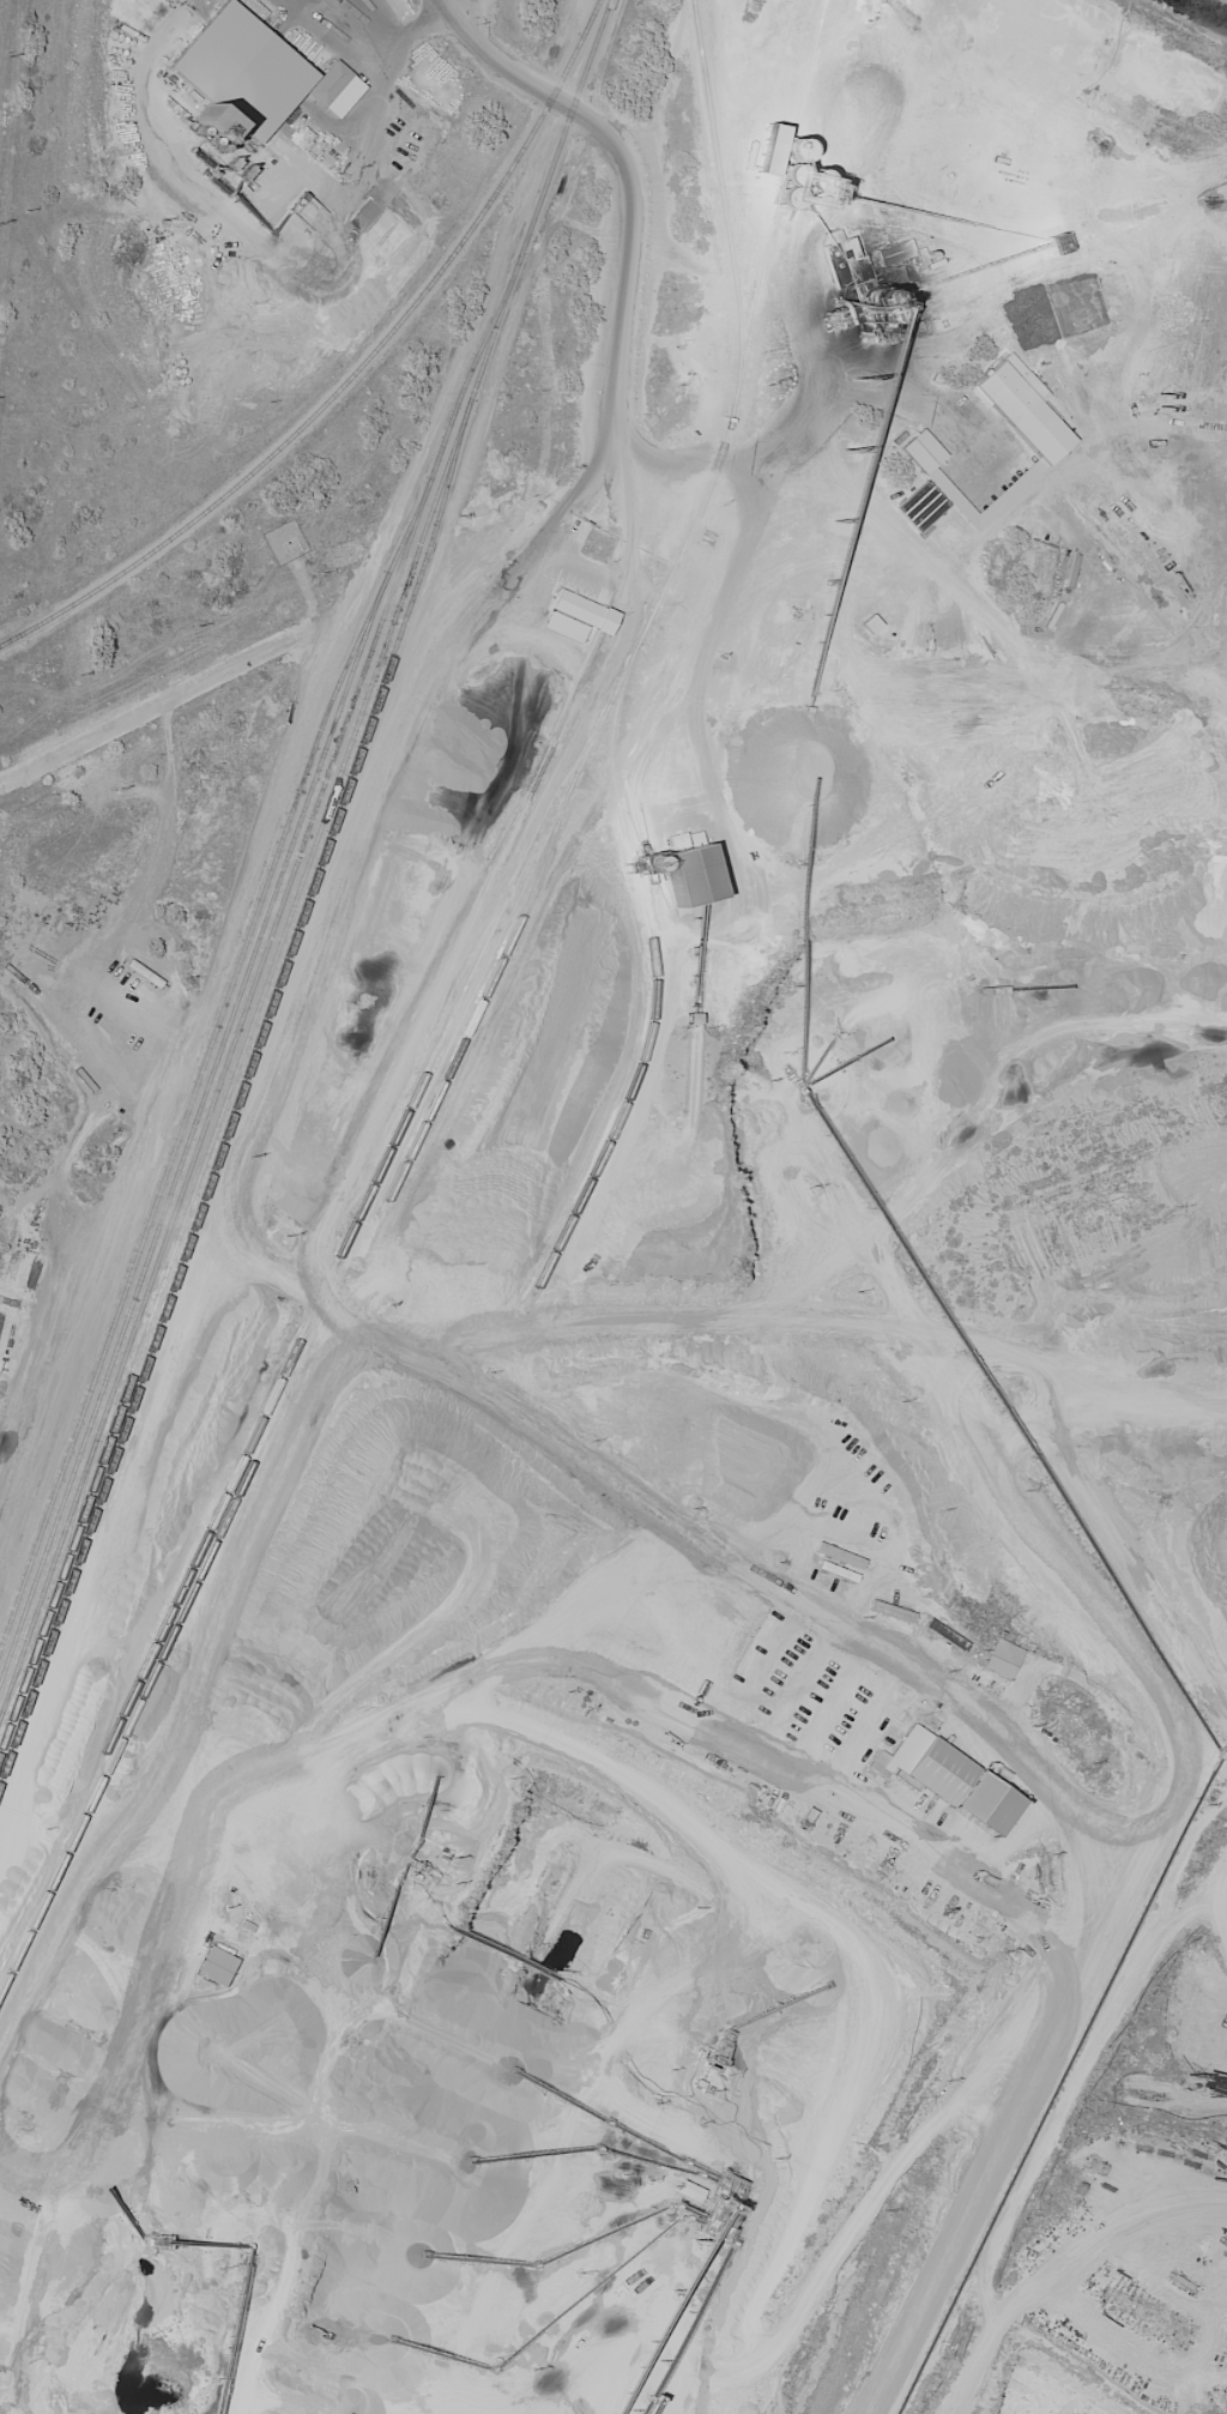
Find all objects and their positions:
road: (460, 11)
railway: (590, 16)
road: (412, 25)
railway: (585, 30)
road: (374, 86)
road: (635, 188)
railway: (460, 388)
road: (877, 396)
railway: (327, 397)
building: (1007, 399)
building: (968, 448)
road: (581, 478)
building: (580, 617)
railway: (297, 888)
railway: (520, 892)
railway: (648, 937)
railway: (207, 1081)
railway: (212, 1098)
road: (177, 1102)
railway: (351, 1225)
road: (383, 1235)
quarry: (669, 1357)
railway: (75, 1510)
railway: (59, 1573)
road: (1095, 1607)
building: (945, 1637)
building: (1003, 1660)
railway: (22, 1668)
building: (931, 1768)

